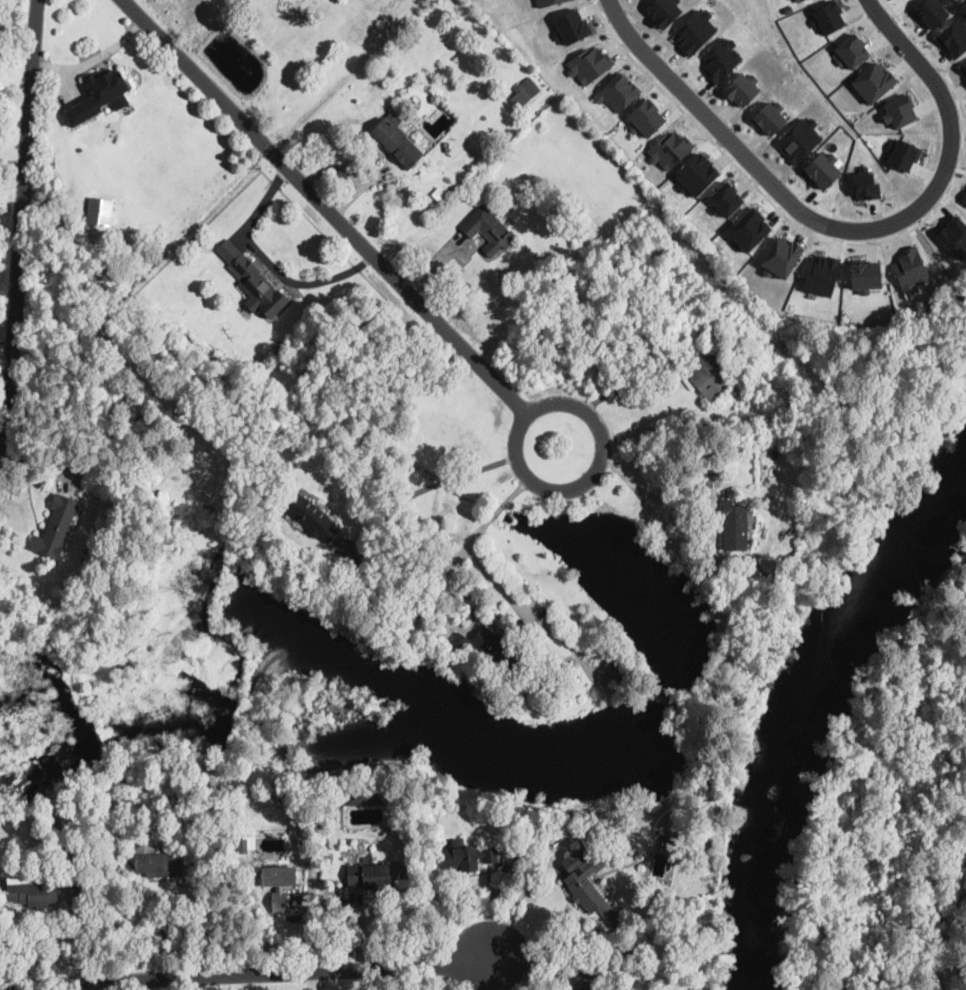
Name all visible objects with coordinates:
building: (797, 0)
building: (547, 2)
building: (664, 10)
building: (932, 12)
building: (828, 17)
road: (18, 24)
building: (571, 26)
building: (695, 30)
building: (954, 37)
building: (851, 52)
building: (722, 57)
road: (94, 58)
building: (589, 64)
building: (964, 67)
building: (874, 81)
building: (106, 87)
building: (743, 88)
building: (528, 89)
building: (619, 92)
building: (436, 99)
building: (899, 111)
building: (770, 117)
building: (646, 118)
road: (696, 125)
building: (394, 139)
building: (800, 141)
building: (669, 149)
building: (903, 155)
road: (13, 162)
building: (823, 171)
building: (697, 174)
building: (866, 185)
building: (725, 199)
building: (964, 200)
road: (326, 205)
building: (100, 210)
road: (23, 224)
road: (839, 228)
building: (489, 230)
building: (749, 230)
building: (954, 235)
building: (657, 253)
building: (782, 256)
building: (910, 272)
building: (821, 275)
building: (865, 275)
building: (258, 287)
building: (927, 313)
building: (709, 376)
road: (632, 383)
building: (725, 394)
building: (122, 425)
building: (713, 479)
road: (436, 483)
road: (574, 487)
road: (514, 492)
road: (496, 511)
building: (311, 517)
road: (712, 520)
building: (735, 526)
building: (55, 528)
road: (467, 543)
road: (526, 613)
building: (460, 641)
building: (498, 648)
building: (616, 670)
river: (813, 719)
building: (688, 779)
building: (365, 795)
building: (465, 797)
building: (648, 810)
building: (515, 821)
park: (897, 824)
building: (243, 846)
building: (472, 857)
building: (160, 865)
building: (370, 876)
building: (584, 879)
building: (279, 881)
building: (32, 891)
road: (514, 906)
building: (655, 929)
building: (592, 971)
road: (257, 975)
building: (591, 985)
road: (82, 986)

